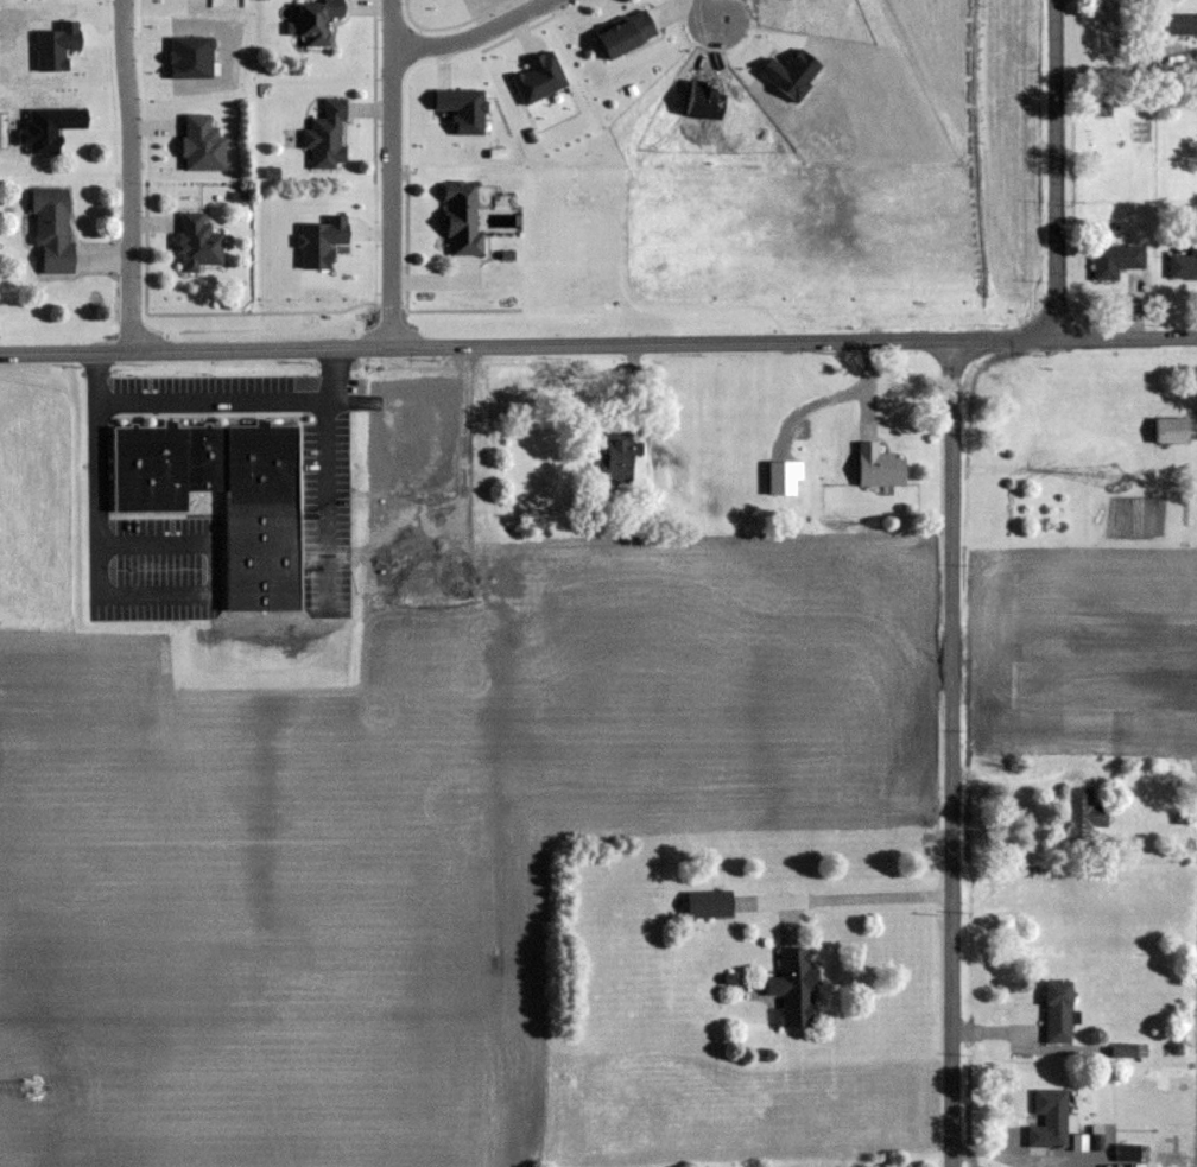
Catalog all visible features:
building: (1134, 2)
road: (717, 9)
building: (313, 21)
building: (1180, 24)
road: (477, 34)
building: (625, 34)
building: (325, 137)
road: (1058, 169)
road: (394, 172)
road: (133, 175)
building: (461, 217)
building: (51, 229)
building: (197, 242)
building: (1116, 260)
building: (1184, 262)
road: (1128, 337)
road: (1008, 338)
road: (477, 344)
road: (213, 400)
building: (1170, 430)
building: (617, 455)
building: (203, 464)
building: (878, 465)
power tower: (1129, 493)
road: (224, 592)
road: (955, 753)
road: (1016, 776)
building: (1082, 813)
road: (863, 898)
building: (708, 903)
building: (793, 985)
building: (1057, 1011)
building: (1125, 1049)
power tower: (32, 1101)
building: (1049, 1118)
building: (1130, 1152)

